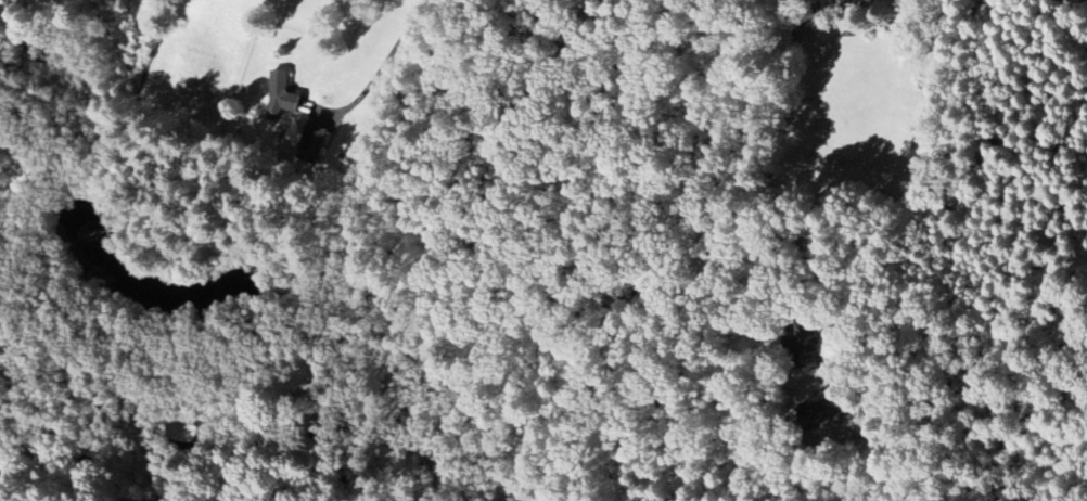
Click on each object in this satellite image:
road: (56, 8)
road: (399, 35)
building: (281, 97)
building: (312, 143)
road: (912, 248)
building: (806, 339)

